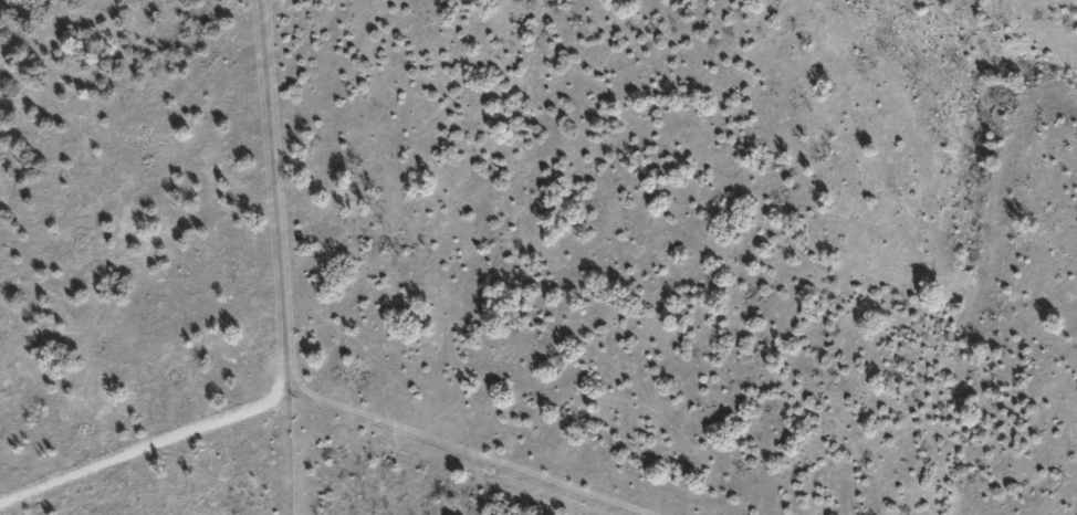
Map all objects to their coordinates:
road: (321, 398)

